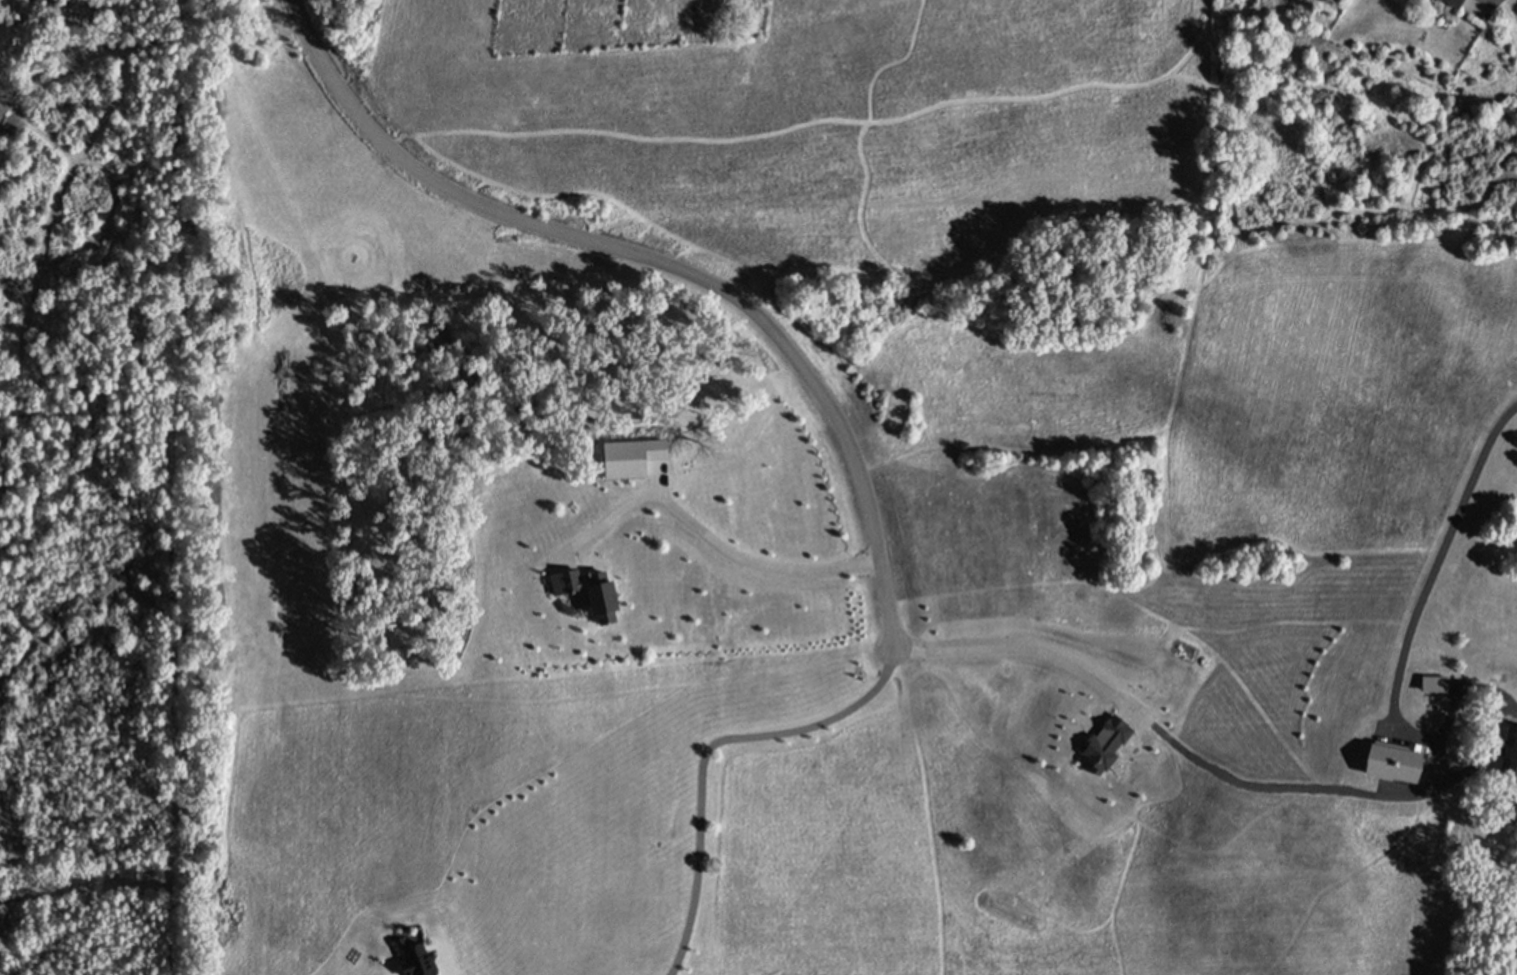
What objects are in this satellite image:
building: (1450, 2)
road: (1493, 3)
building: (1482, 17)
road: (662, 268)
road: (710, 534)
road: (1435, 547)
road: (1016, 648)
building: (1431, 687)
road: (1453, 705)
road: (705, 754)
building: (1509, 757)
building: (1389, 764)
building: (420, 960)

